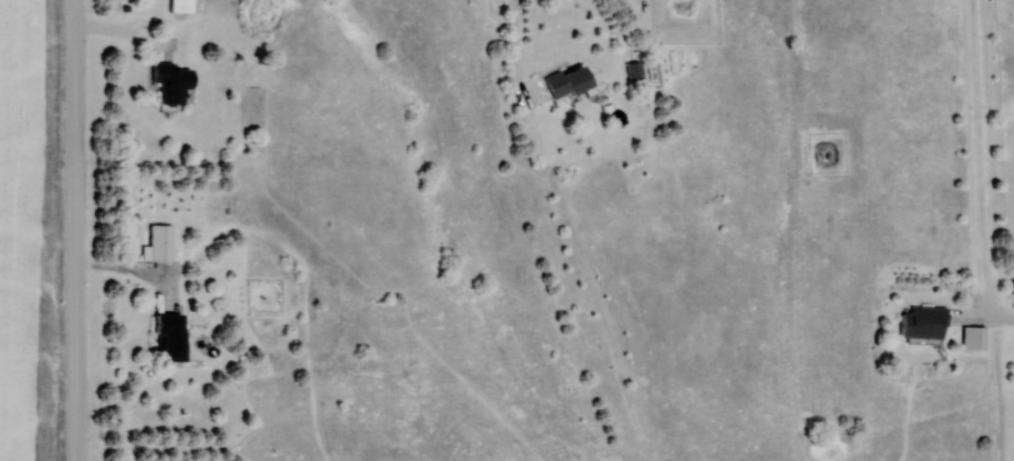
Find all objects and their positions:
building: (184, 9)
road: (132, 37)
road: (521, 51)
building: (637, 72)
building: (572, 83)
building: (175, 84)
road: (983, 164)
road: (80, 230)
building: (163, 243)
road: (137, 276)
building: (928, 322)
building: (176, 337)
building: (976, 337)

